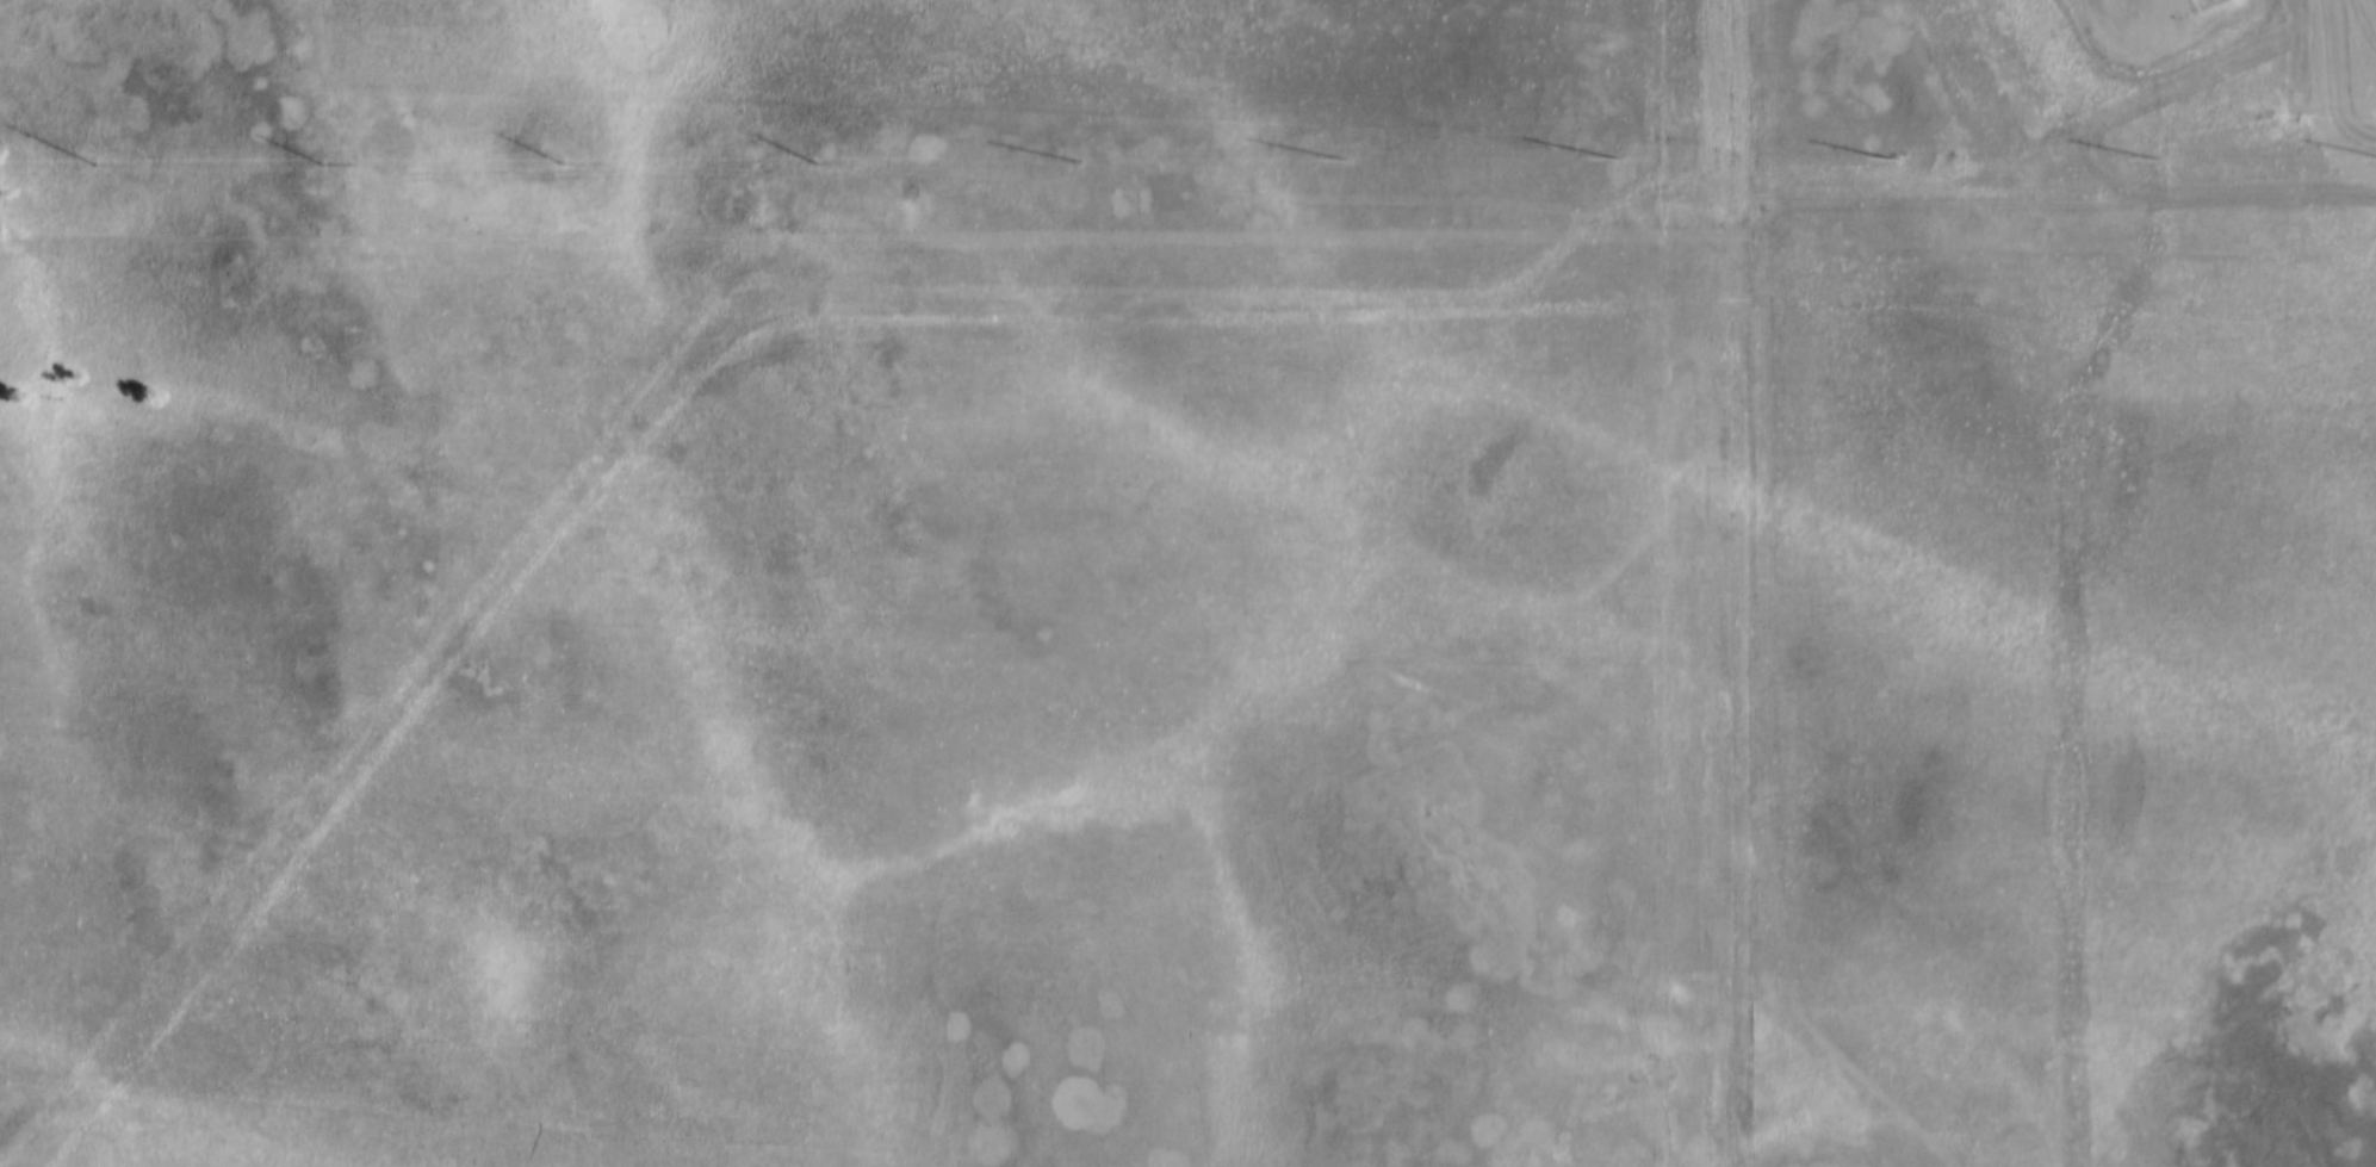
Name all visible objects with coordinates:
road: (1768, 613)

